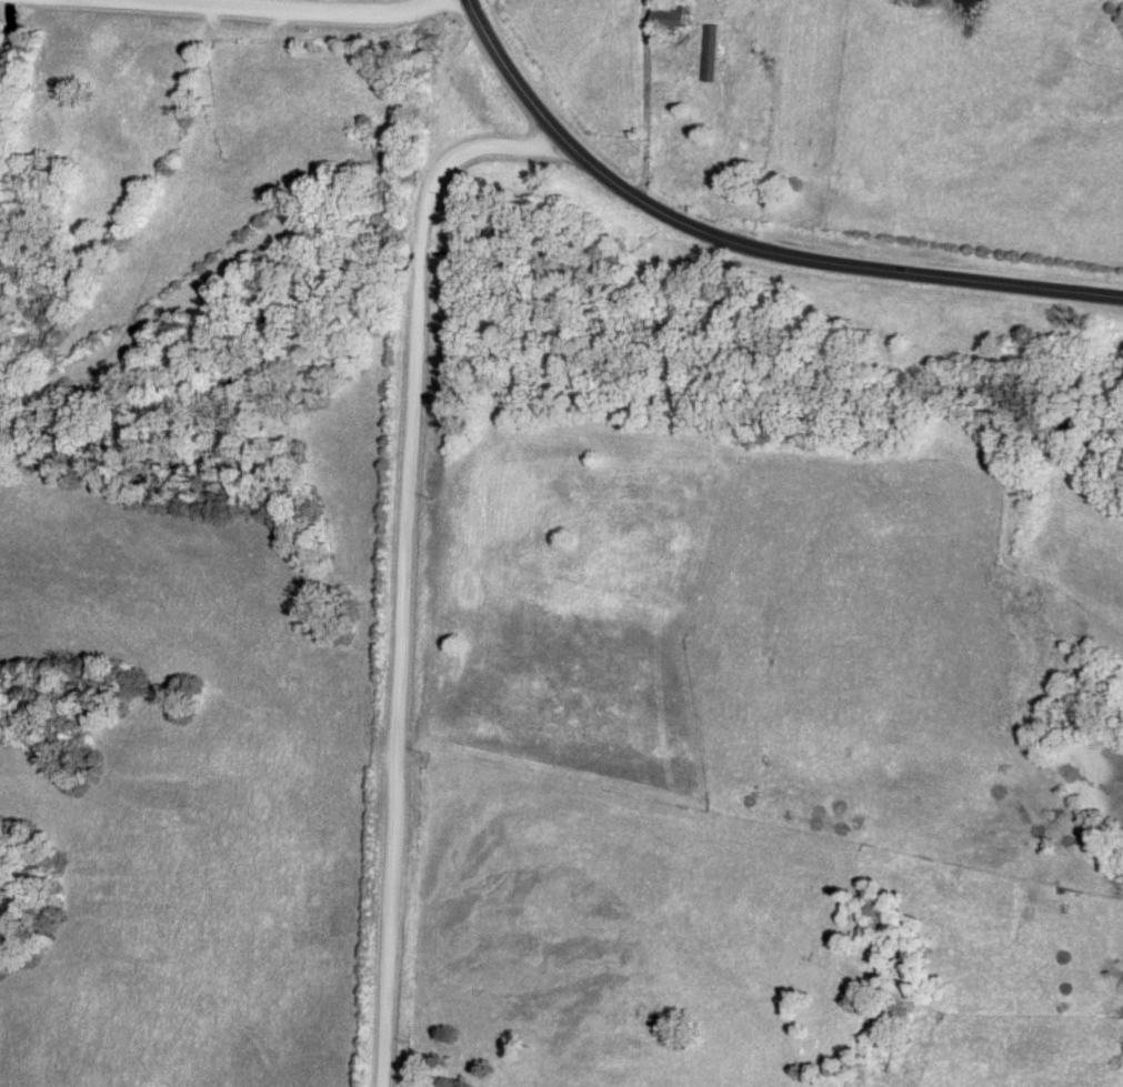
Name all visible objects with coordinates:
road: (270, 9)
road: (650, 103)
road: (743, 248)
road: (408, 558)

